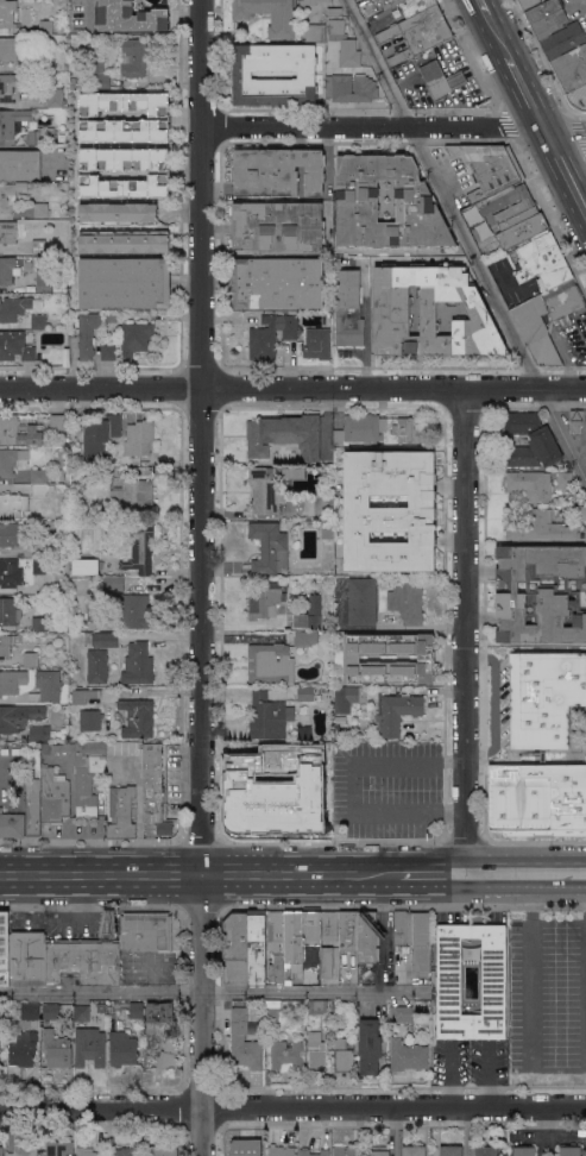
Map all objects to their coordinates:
building: (353, 0)
building: (310, 1)
building: (528, 2)
building: (385, 4)
building: (415, 6)
road: (484, 8)
road: (86, 11)
building: (334, 12)
building: (6, 15)
building: (128, 17)
building: (282, 23)
building: (45, 26)
building: (554, 27)
building: (420, 30)
building: (314, 32)
road: (498, 36)
building: (344, 43)
building: (10, 49)
building: (396, 58)
building: (134, 59)
road: (376, 63)
building: (571, 69)
building: (241, 75)
building: (95, 77)
building: (441, 78)
building: (12, 87)
building: (351, 88)
road: (525, 92)
building: (55, 98)
building: (578, 98)
building: (122, 102)
building: (12, 121)
road: (392, 126)
building: (124, 131)
building: (42, 137)
building: (124, 159)
building: (20, 165)
building: (487, 168)
road: (563, 169)
building: (276, 172)
building: (124, 187)
building: (10, 196)
building: (357, 200)
building: (485, 207)
building: (40, 211)
building: (118, 213)
building: (57, 227)
building: (278, 227)
building: (522, 231)
building: (8, 232)
building: (124, 241)
building: (38, 246)
road: (473, 256)
building: (542, 260)
building: (6, 270)
building: (44, 283)
building: (125, 283)
building: (276, 283)
building: (13, 308)
building: (348, 309)
building: (431, 312)
building: (113, 318)
building: (38, 321)
building: (531, 326)
building: (87, 334)
building: (271, 335)
building: (136, 339)
building: (316, 343)
building: (14, 346)
building: (108, 352)
road: (235, 385)
road: (529, 385)
building: (575, 420)
building: (57, 425)
building: (20, 429)
building: (359, 429)
building: (408, 431)
road: (562, 432)
building: (284, 435)
building: (99, 436)
building: (139, 439)
building: (529, 442)
building: (11, 460)
building: (136, 463)
building: (398, 463)
building: (105, 472)
building: (295, 472)
building: (563, 480)
building: (39, 482)
building: (530, 485)
building: (265, 490)
building: (130, 494)
building: (13, 504)
building: (398, 504)
building: (319, 505)
building: (567, 510)
building: (349, 511)
building: (581, 514)
building: (538, 527)
building: (327, 529)
building: (11, 535)
building: (585, 535)
building: (139, 547)
building: (269, 547)
building: (374, 547)
building: (40, 548)
building: (340, 557)
building: (64, 561)
building: (44, 566)
building: (89, 566)
building: (330, 571)
building: (10, 573)
road: (199, 577)
building: (111, 583)
building: (538, 593)
building: (264, 598)
building: (361, 601)
building: (407, 601)
building: (7, 611)
building: (95, 611)
building: (136, 611)
building: (314, 611)
building: (39, 623)
road: (426, 626)
road: (468, 627)
building: (304, 637)
building: (101, 639)
building: (6, 645)
building: (351, 658)
building: (31, 660)
building: (269, 662)
building: (137, 665)
building: (328, 665)
building: (96, 666)
building: (65, 671)
building: (12, 681)
building: (322, 681)
building: (46, 686)
building: (304, 693)
building: (83, 696)
building: (347, 697)
building: (544, 697)
building: (397, 712)
building: (19, 716)
building: (267, 716)
building: (137, 718)
building: (89, 720)
building: (304, 731)
building: (39, 733)
building: (14, 750)
building: (292, 750)
building: (4, 752)
building: (322, 753)
building: (531, 753)
building: (89, 756)
road: (453, 760)
building: (151, 783)
road: (355, 786)
building: (53, 796)
building: (537, 797)
building: (86, 803)
building: (32, 806)
road: (309, 809)
road: (453, 811)
building: (121, 812)
road: (258, 813)
building: (288, 815)
building: (11, 824)
building: (156, 830)
road: (433, 869)
road: (498, 869)
road: (559, 869)
road: (326, 871)
road: (226, 873)
road: (75, 874)
road: (176, 874)
building: (276, 925)
building: (329, 925)
building: (310, 928)
building: (402, 928)
road: (383, 930)
building: (347, 931)
building: (145, 932)
building: (292, 937)
building: (367, 937)
building: (5, 941)
building: (421, 941)
building: (234, 948)
building: (256, 950)
building: (27, 959)
building: (83, 962)
building: (326, 962)
building: (276, 968)
building: (448, 976)
road: (533, 985)
road: (100, 989)
road: (310, 989)
building: (8, 1004)
building: (17, 1004)
building: (316, 1006)
building: (100, 1007)
building: (130, 1007)
building: (272, 1010)
building: (29, 1011)
building: (51, 1011)
building: (81, 1013)
building: (402, 1013)
building: (97, 1017)
building: (5, 1022)
building: (157, 1022)
building: (237, 1039)
building: (370, 1045)
building: (89, 1047)
building: (23, 1049)
building: (57, 1049)
building: (122, 1049)
building: (316, 1051)
building: (283, 1054)
building: (169, 1055)
building: (342, 1055)
building: (407, 1055)
road: (449, 1075)
road: (487, 1075)
road: (292, 1107)
road: (395, 1131)
building: (58, 1148)
building: (24, 1149)
building: (1, 1150)
building: (160, 1150)
building: (282, 1150)
building: (414, 1150)
building: (84, 1151)
building: (124, 1151)
building: (244, 1151)
building: (304, 1151)
building: (346, 1151)
building: (379, 1151)
building: (450, 1151)
building: (486, 1151)
building: (523, 1151)
building: (569, 1151)

